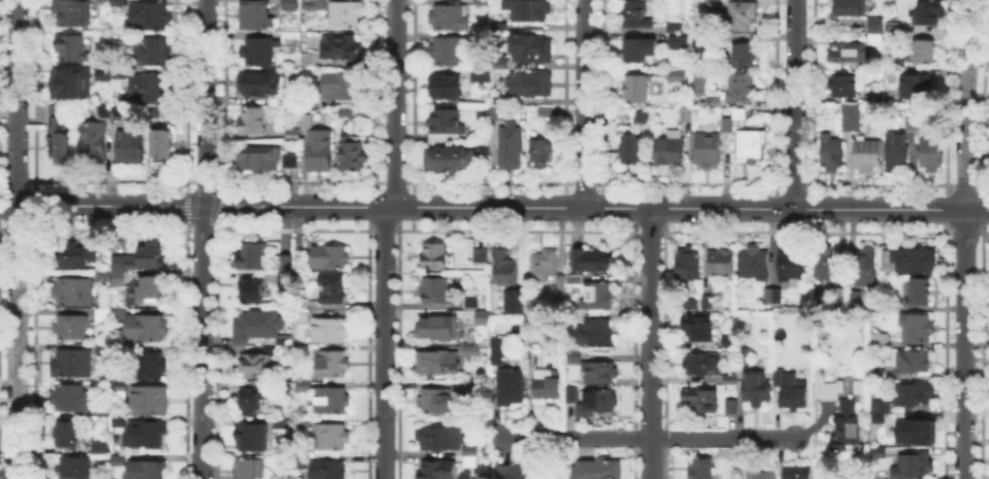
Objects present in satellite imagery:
building: (482, 0)
building: (712, 3)
building: (290, 5)
building: (314, 5)
building: (851, 8)
building: (529, 10)
building: (929, 14)
building: (74, 15)
building: (639, 15)
building: (743, 15)
building: (151, 16)
building: (257, 17)
building: (348, 17)
building: (450, 20)
building: (875, 25)
building: (676, 27)
building: (894, 28)
building: (893, 37)
building: (292, 38)
building: (700, 42)
building: (710, 42)
building: (679, 44)
building: (341, 49)
building: (532, 49)
building: (74, 50)
building: (640, 50)
building: (154, 54)
building: (258, 54)
building: (449, 54)
building: (851, 54)
building: (925, 54)
building: (745, 57)
building: (309, 62)
building: (501, 64)
building: (121, 72)
building: (102, 73)
building: (677, 77)
building: (482, 78)
building: (697, 82)
building: (262, 85)
building: (532, 85)
building: (737, 85)
building: (72, 86)
building: (845, 86)
building: (340, 87)
building: (916, 87)
building: (150, 88)
building: (449, 89)
building: (638, 89)
building: (499, 99)
building: (288, 100)
road: (206, 103)
road: (393, 103)
road: (584, 103)
road: (795, 103)
building: (346, 111)
building: (110, 112)
building: (546, 113)
building: (156, 114)
building: (688, 114)
building: (740, 114)
building: (497, 115)
building: (850, 118)
building: (641, 119)
building: (308, 121)
building: (254, 122)
building: (447, 123)
building: (915, 123)
building: (728, 124)
building: (293, 134)
building: (61, 137)
building: (93, 144)
building: (752, 145)
building: (511, 147)
building: (163, 148)
building: (131, 150)
building: (484, 150)
building: (634, 150)
building: (670, 150)
building: (710, 151)
building: (320, 152)
building: (899, 152)
building: (542, 154)
building: (832, 154)
building: (869, 154)
building: (933, 155)
building: (351, 157)
building: (448, 159)
building: (259, 160)
building: (292, 162)
road: (102, 205)
road: (596, 208)
road: (964, 238)
road: (17, 239)
building: (432, 253)
building: (478, 253)
building: (152, 255)
building: (332, 256)
building: (76, 258)
building: (252, 258)
building: (546, 260)
building: (916, 260)
building: (593, 261)
building: (723, 262)
building: (287, 263)
building: (755, 264)
building: (829, 264)
building: (504, 265)
building: (690, 265)
building: (794, 266)
building: (867, 266)
building: (286, 281)
building: (432, 287)
building: (333, 289)
building: (253, 291)
building: (152, 292)
building: (919, 292)
building: (74, 293)
building: (774, 295)
building: (599, 296)
building: (469, 299)
building: (839, 299)
building: (519, 300)
building: (855, 301)
building: (708, 303)
building: (693, 304)
building: (303, 311)
building: (480, 315)
building: (107, 316)
building: (259, 326)
building: (435, 326)
building: (918, 328)
building: (72, 329)
building: (148, 329)
building: (701, 329)
building: (332, 332)
building: (601, 335)
building: (882, 341)
road: (202, 342)
building: (288, 342)
road: (383, 342)
building: (534, 342)
road: (650, 343)
building: (468, 348)
building: (495, 348)
building: (105, 351)
building: (272, 352)
building: (572, 355)
building: (533, 357)
building: (746, 358)
building: (435, 360)
building: (914, 361)
building: (74, 364)
building: (704, 365)
building: (253, 366)
building: (333, 366)
building: (155, 368)
building: (603, 374)
building: (881, 374)
building: (732, 381)
building: (511, 382)
building: (468, 385)
building: (306, 386)
building: (121, 387)
building: (550, 387)
building: (755, 388)
building: (790, 390)
building: (830, 391)
building: (570, 392)
building: (915, 393)
building: (252, 396)
building: (433, 398)
building: (72, 399)
building: (332, 401)
building: (602, 401)
building: (151, 402)
building: (702, 402)
building: (882, 404)
building: (732, 408)
building: (105, 413)
building: (878, 416)
building: (118, 421)
building: (283, 425)
building: (848, 431)
building: (915, 433)
building: (69, 436)
building: (147, 436)
building: (437, 436)
road: (649, 437)
building: (332, 438)
building: (252, 439)
building: (100, 445)
building: (482, 445)
building: (468, 448)
building: (878, 451)
building: (481, 456)
building: (119, 457)
building: (468, 459)
building: (294, 465)
building: (152, 466)
building: (914, 467)
building: (75, 469)
building: (435, 469)
building: (600, 469)
building: (702, 469)
building: (252, 470)
building: (330, 470)
building: (524, 470)
building: (798, 471)
building: (763, 475)
building: (104, 478)

